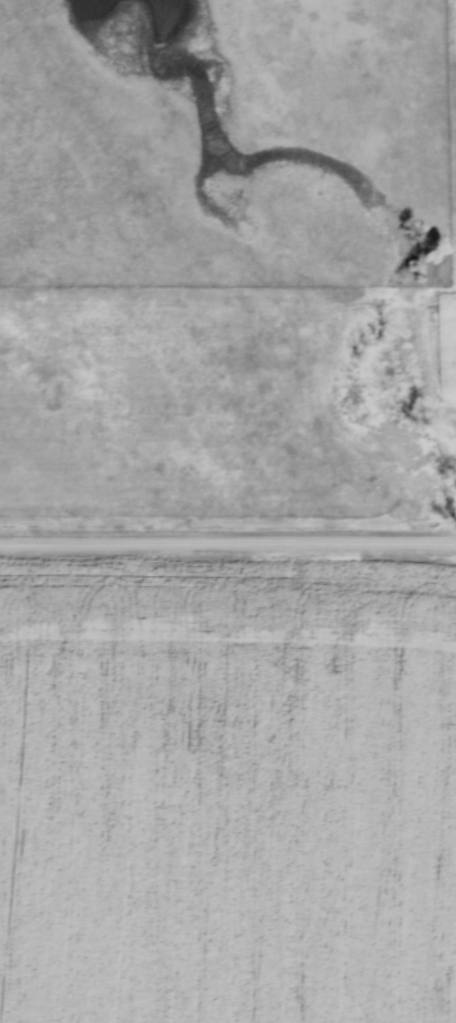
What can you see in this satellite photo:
road: (228, 539)

